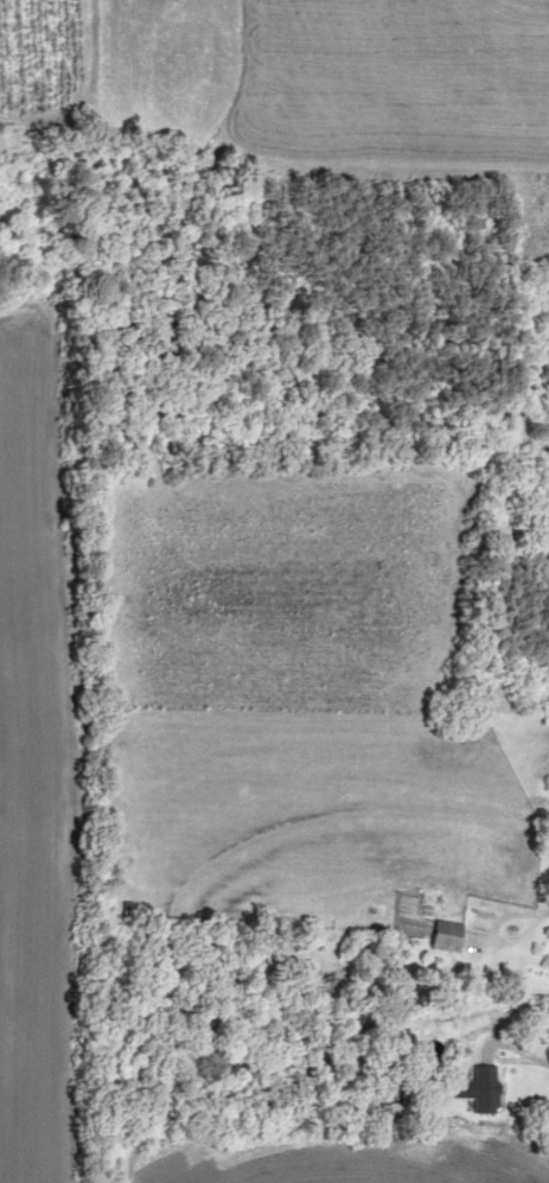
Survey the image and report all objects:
building: (446, 934)
building: (485, 1087)

